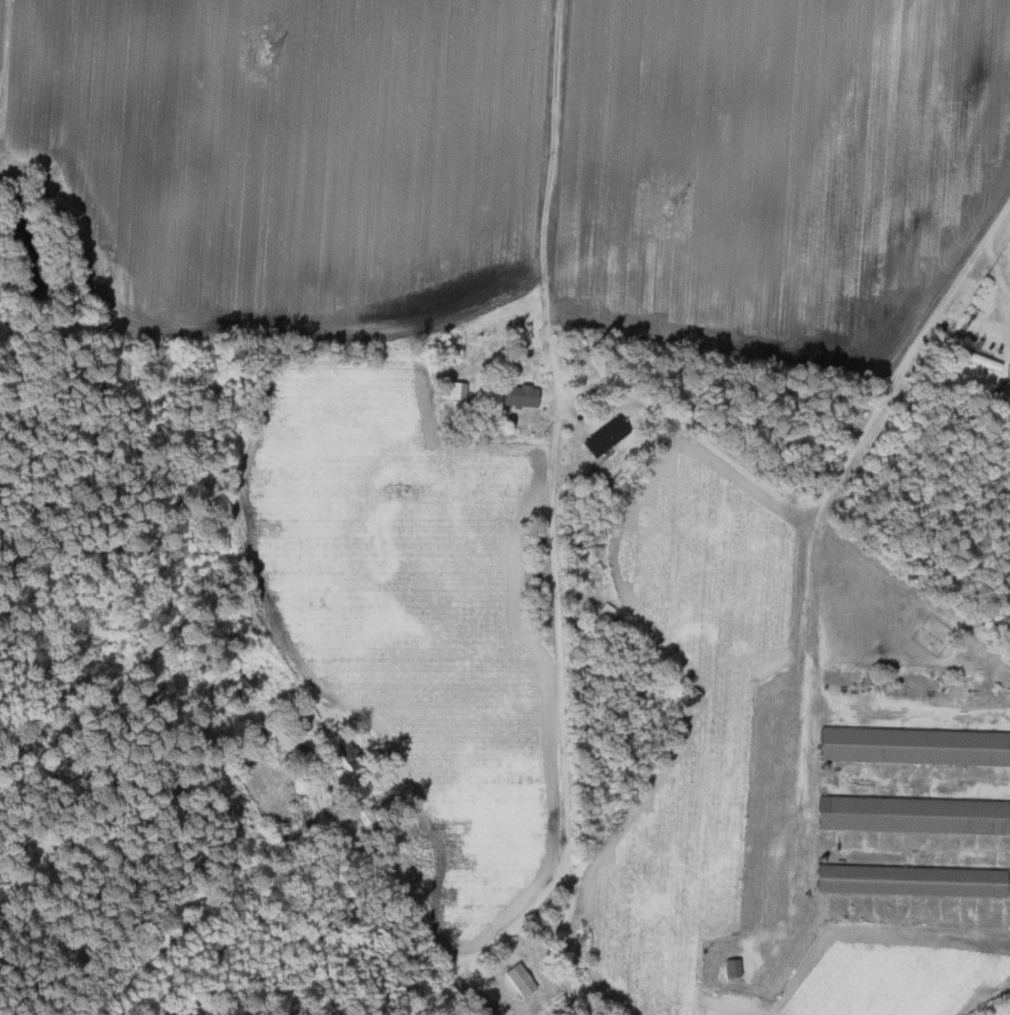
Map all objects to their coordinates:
power tower: (267, 53)
power tower: (669, 203)
road: (448, 317)
road: (908, 358)
building: (526, 394)
building: (609, 434)
road: (551, 502)
building: (294, 720)
road: (803, 734)
building: (915, 744)
building: (347, 758)
building: (913, 812)
building: (324, 829)
building: (909, 878)
road: (465, 957)
building: (731, 964)
building: (516, 980)
building: (455, 987)
building: (485, 1010)

